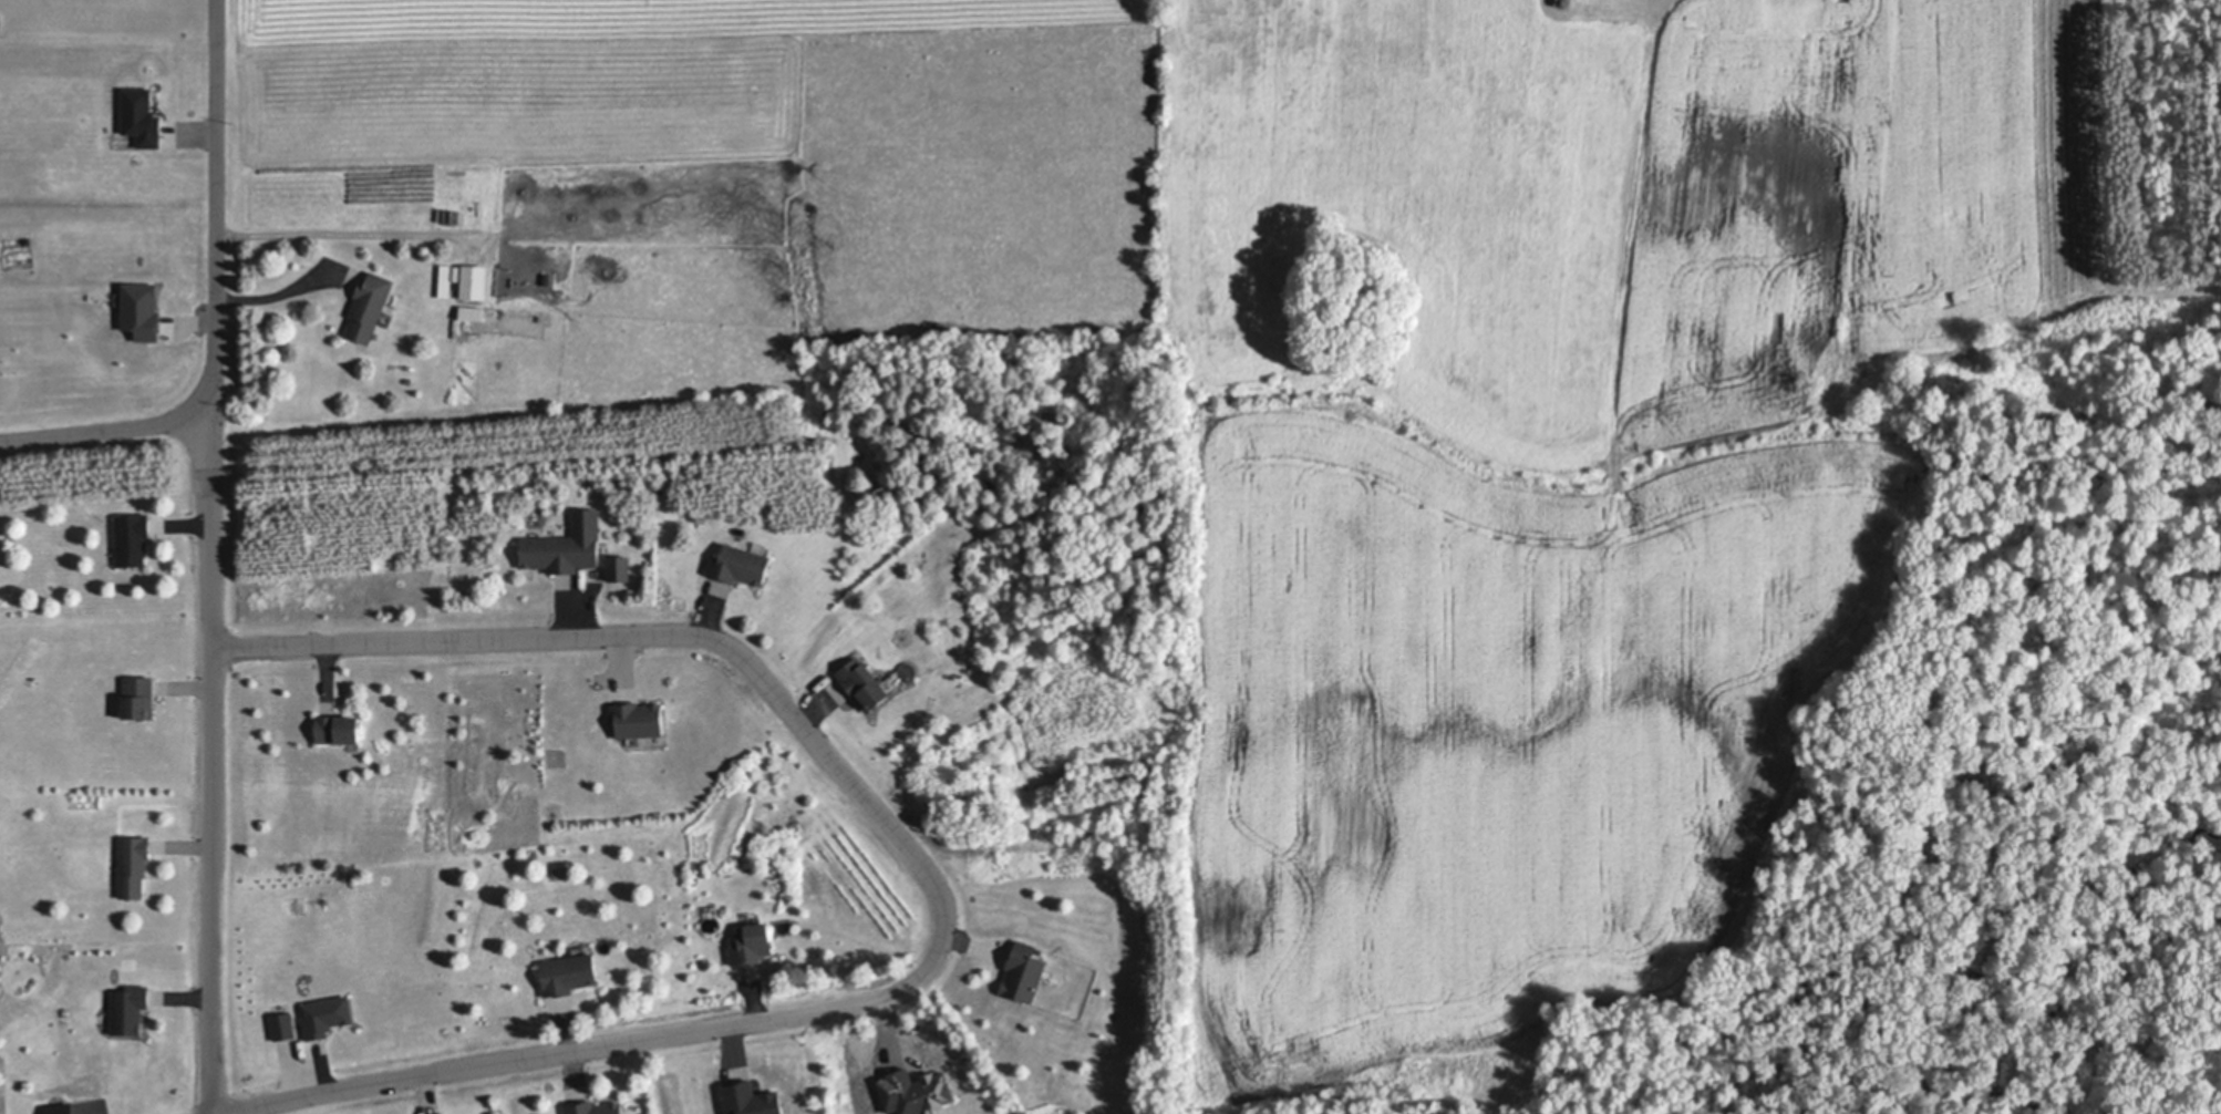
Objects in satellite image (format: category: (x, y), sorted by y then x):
building: (1562, 2)
building: (144, 118)
road: (347, 229)
building: (448, 278)
building: (549, 278)
building: (474, 281)
road: (275, 288)
building: (370, 305)
building: (145, 311)
building: (472, 311)
building: (829, 415)
road: (107, 431)
building: (702, 516)
building: (133, 538)
building: (566, 545)
road: (214, 556)
building: (740, 564)
building: (619, 567)
building: (719, 587)
building: (864, 683)
building: (138, 697)
building: (638, 718)
building: (339, 728)
building: (555, 811)
building: (134, 865)
road: (930, 873)
building: (752, 943)
building: (568, 972)
building: (1024, 972)
building: (130, 1009)
building: (327, 1014)
building: (286, 1027)
building: (756, 1101)
building: (595, 1107)
building: (63, 1110)

